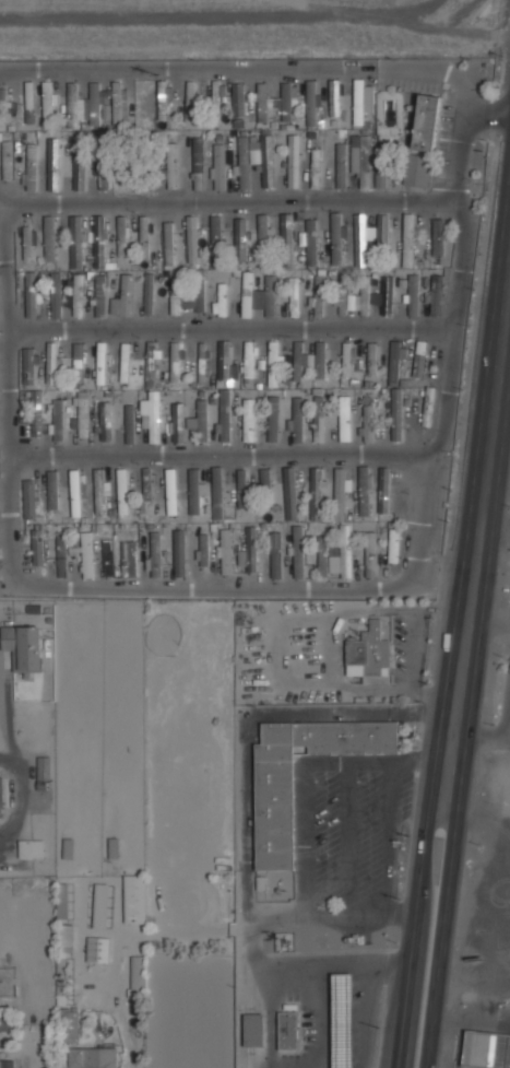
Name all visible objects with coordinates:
dam: (235, 37)
road: (251, 69)
road: (1, 71)
parking lot: (411, 85)
building: (333, 96)
building: (215, 98)
building: (162, 99)
building: (238, 99)
building: (189, 101)
building: (286, 101)
building: (47, 102)
building: (262, 102)
building: (310, 102)
building: (358, 102)
building: (117, 103)
building: (23, 104)
building: (94, 104)
building: (2, 105)
building: (72, 105)
building: (426, 121)
parking lot: (444, 137)
building: (253, 154)
building: (5, 161)
building: (266, 161)
building: (294, 161)
building: (242, 162)
building: (365, 162)
building: (198, 163)
building: (170, 165)
building: (341, 165)
building: (218, 166)
building: (31, 167)
building: (54, 167)
building: (315, 167)
building: (103, 171)
building: (79, 175)
building: (380, 180)
road: (229, 200)
building: (382, 230)
building: (122, 235)
building: (143, 236)
building: (438, 237)
building: (49, 238)
building: (240, 238)
building: (336, 238)
building: (191, 239)
building: (286, 239)
building: (361, 239)
building: (407, 239)
building: (216, 240)
building: (75, 242)
building: (98, 242)
building: (311, 242)
building: (27, 243)
building: (168, 245)
building: (194, 292)
building: (78, 294)
building: (247, 294)
building: (436, 294)
building: (31, 295)
building: (56, 295)
building: (100, 295)
building: (174, 295)
building: (342, 295)
building: (413, 295)
building: (265, 296)
building: (318, 296)
building: (384, 296)
building: (123, 297)
building: (294, 297)
building: (360, 297)
building: (163, 298)
building: (149, 301)
building: (221, 301)
road: (233, 328)
building: (347, 359)
building: (372, 359)
building: (419, 359)
building: (176, 360)
building: (249, 360)
building: (300, 360)
building: (394, 361)
building: (79, 362)
building: (124, 362)
building: (226, 362)
building: (151, 363)
building: (273, 363)
building: (52, 364)
building: (102, 364)
building: (28, 366)
building: (426, 407)
road: (10, 413)
building: (36, 413)
building: (318, 414)
building: (395, 414)
building: (81, 415)
building: (152, 415)
building: (224, 416)
building: (344, 418)
building: (273, 419)
building: (199, 420)
building: (248, 420)
building: (296, 420)
building: (57, 421)
building: (105, 421)
building: (177, 422)
building: (367, 423)
building: (129, 424)
road: (224, 456)
building: (265, 480)
building: (146, 483)
building: (241, 489)
building: (52, 490)
building: (383, 490)
building: (99, 491)
building: (122, 491)
building: (193, 491)
building: (364, 491)
building: (170, 492)
building: (75, 493)
building: (217, 493)
building: (289, 493)
building: (316, 494)
building: (29, 498)
road: (475, 515)
building: (343, 518)
road: (493, 520)
road: (420, 525)
building: (393, 545)
building: (37, 547)
building: (225, 550)
building: (249, 550)
building: (203, 551)
building: (297, 551)
building: (61, 553)
building: (179, 553)
building: (84, 554)
building: (155, 554)
building: (369, 554)
building: (275, 555)
road: (490, 555)
building: (322, 556)
building: (108, 558)
building: (129, 559)
building: (333, 559)
road: (506, 578)
road: (486, 598)
road: (508, 600)
building: (23, 646)
building: (370, 649)
building: (44, 768)
building: (0, 796)
road: (20, 803)
building: (274, 811)
road: (304, 822)
parking lot: (351, 826)
road: (389, 837)
road: (347, 838)
building: (31, 848)
building: (134, 899)
building: (61, 900)
building: (99, 905)
road: (413, 925)
road: (440, 927)
building: (97, 949)
building: (63, 955)
building: (137, 976)
building: (342, 1020)
gas station: (342, 1020)
building: (69, 1024)
building: (252, 1030)
building: (288, 1031)
building: (486, 1049)
building: (92, 1057)
building: (7, 1064)

